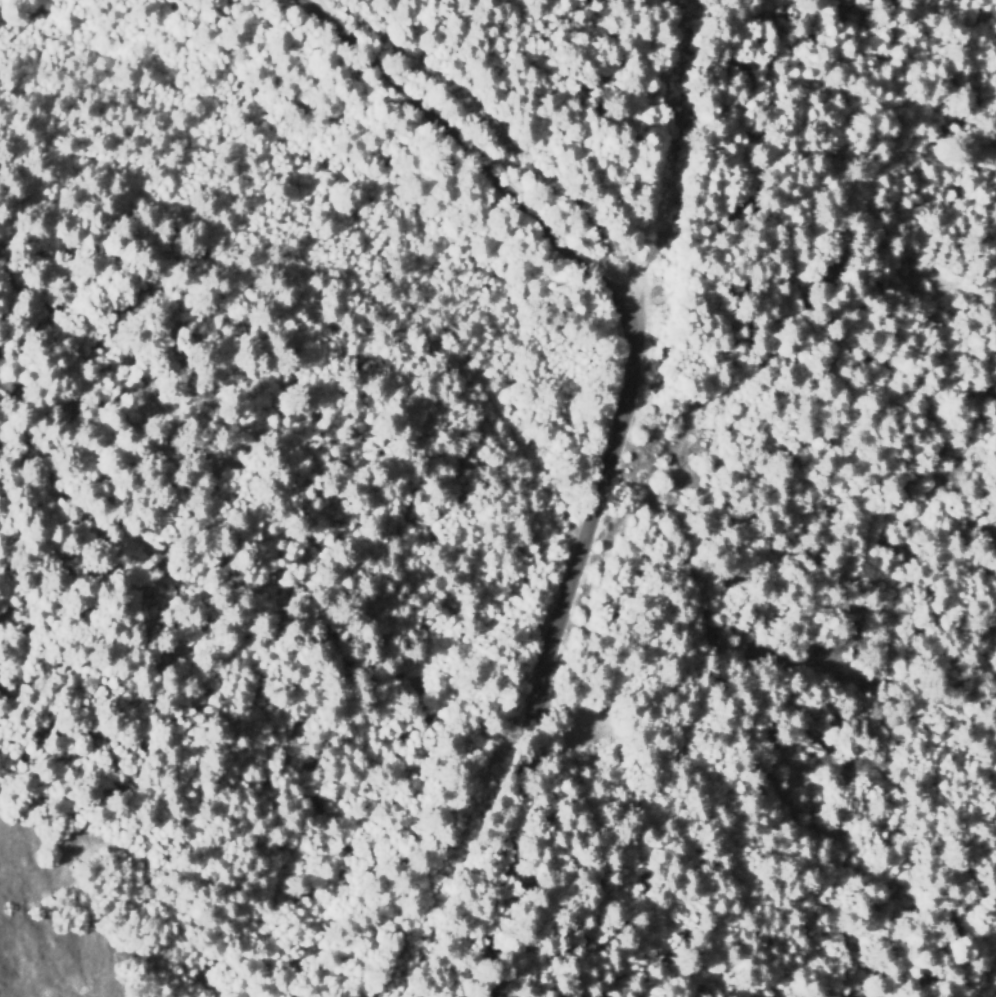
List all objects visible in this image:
road: (751, 409)
road: (623, 437)

